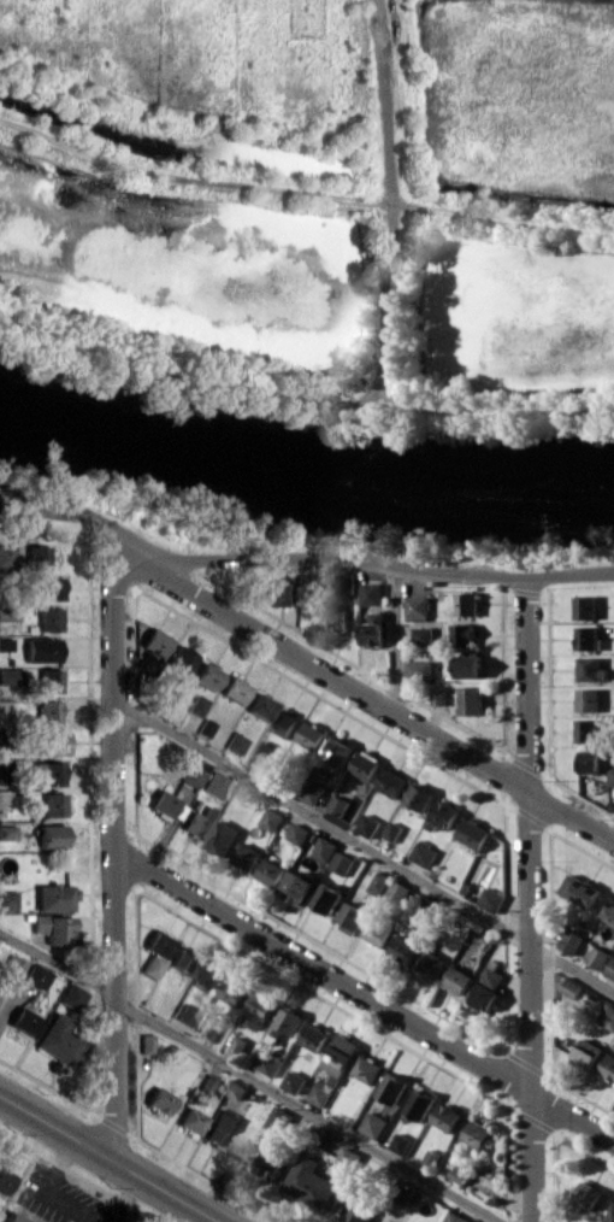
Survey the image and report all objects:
building: (305, 17)
road: (385, 195)
road: (303, 201)
wastewater plant: (315, 208)
road: (301, 378)
river: (301, 480)
road: (77, 510)
building: (18, 525)
building: (5, 557)
building: (34, 557)
road: (378, 564)
building: (346, 582)
building: (48, 587)
building: (277, 593)
building: (372, 593)
building: (467, 604)
building: (586, 606)
building: (418, 607)
building: (7, 613)
building: (47, 618)
building: (338, 619)
building: (374, 629)
building: (464, 634)
building: (424, 635)
building: (588, 638)
building: (153, 641)
road: (398, 642)
building: (5, 644)
building: (40, 650)
building: (178, 658)
building: (146, 662)
building: (470, 664)
building: (420, 669)
building: (592, 669)
building: (10, 675)
building: (205, 675)
building: (47, 680)
building: (232, 688)
building: (439, 695)
building: (472, 699)
building: (589, 699)
road: (376, 703)
building: (195, 704)
building: (259, 706)
building: (45, 711)
building: (284, 723)
building: (590, 730)
building: (312, 735)
building: (52, 742)
building: (232, 742)
building: (340, 751)
building: (261, 757)
building: (591, 760)
building: (367, 764)
building: (47, 772)
building: (191, 772)
building: (612, 776)
building: (391, 782)
building: (212, 783)
building: (312, 792)
building: (420, 795)
building: (51, 804)
building: (165, 805)
building: (344, 807)
building: (443, 816)
building: (272, 818)
building: (195, 822)
building: (368, 826)
building: (6, 832)
building: (394, 832)
building: (474, 833)
building: (300, 834)
building: (48, 835)
building: (222, 838)
road: (361, 844)
building: (325, 848)
road: (112, 852)
building: (424, 853)
building: (247, 856)
building: (343, 863)
building: (272, 873)
building: (379, 882)
building: (299, 888)
building: (400, 891)
building: (580, 891)
building: (52, 897)
building: (327, 898)
building: (491, 899)
road: (530, 899)
building: (6, 900)
building: (609, 913)
building: (352, 917)
building: (54, 928)
building: (379, 933)
building: (572, 940)
building: (406, 950)
building: (153, 952)
building: (598, 957)
building: (182, 959)
building: (432, 963)
building: (11, 965)
building: (610, 970)
building: (35, 976)
building: (492, 976)
building: (207, 977)
building: (459, 980)
building: (572, 987)
building: (235, 992)
road: (362, 994)
building: (70, 995)
building: (484, 995)
building: (259, 1011)
building: (185, 1014)
building: (607, 1016)
building: (20, 1020)
building: (288, 1022)
building: (315, 1036)
building: (58, 1040)
building: (143, 1042)
building: (238, 1046)
building: (586, 1053)
building: (341, 1054)
building: (271, 1063)
building: (609, 1067)
building: (368, 1069)
road: (249, 1076)
building: (295, 1081)
building: (207, 1085)
building: (394, 1088)
building: (237, 1089)
building: (321, 1092)
building: (157, 1099)
building: (420, 1105)
building: (447, 1117)
building: (189, 1120)
building: (281, 1121)
building: (374, 1124)
building: (220, 1128)
building: (478, 1134)
building: (401, 1142)
road: (108, 1159)
building: (270, 1165)
building: (459, 1175)
building: (4, 1180)
building: (311, 1182)
building: (407, 1193)
building: (586, 1197)
building: (356, 1209)
building: (610, 1216)
building: (456, 1217)
building: (11, 1218)
building: (386, 1221)

